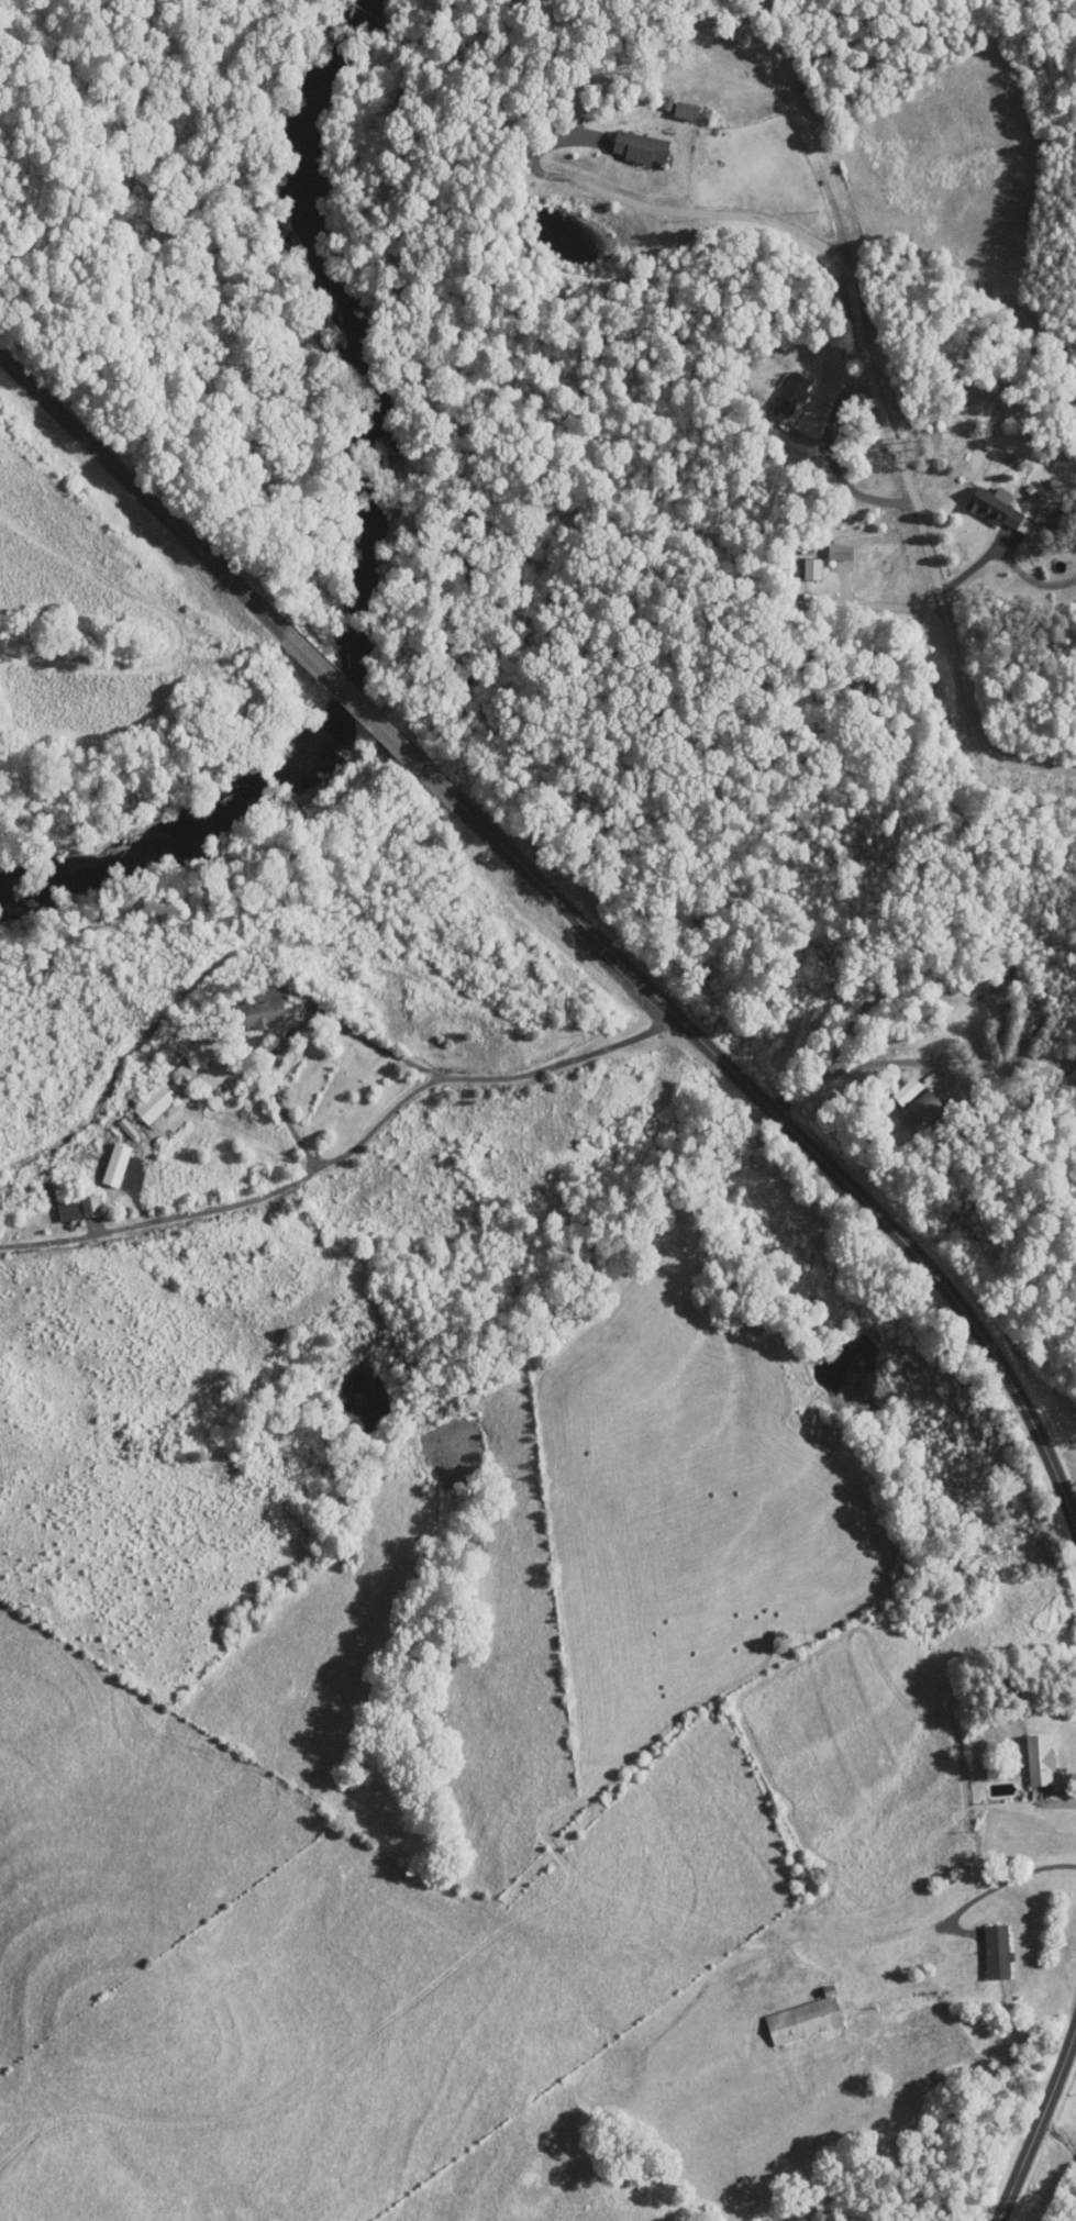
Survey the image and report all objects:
building: (546, 126)
building: (641, 149)
road: (664, 209)
building: (792, 393)
road: (888, 413)
road: (142, 490)
building: (999, 510)
building: (813, 563)
road: (330, 677)
road: (417, 762)
building: (262, 1014)
road: (356, 1034)
road: (858, 1065)
road: (275, 1086)
building: (921, 1113)
road: (800, 1139)
road: (347, 1151)
building: (91, 1207)
building: (68, 1211)
road: (1023, 1297)
road: (1073, 1510)
building: (1040, 1758)
road: (997, 1886)
building: (822, 1918)
building: (998, 1953)
building: (759, 1978)
building: (806, 2021)
road: (1039, 2124)
road: (1061, 2137)

